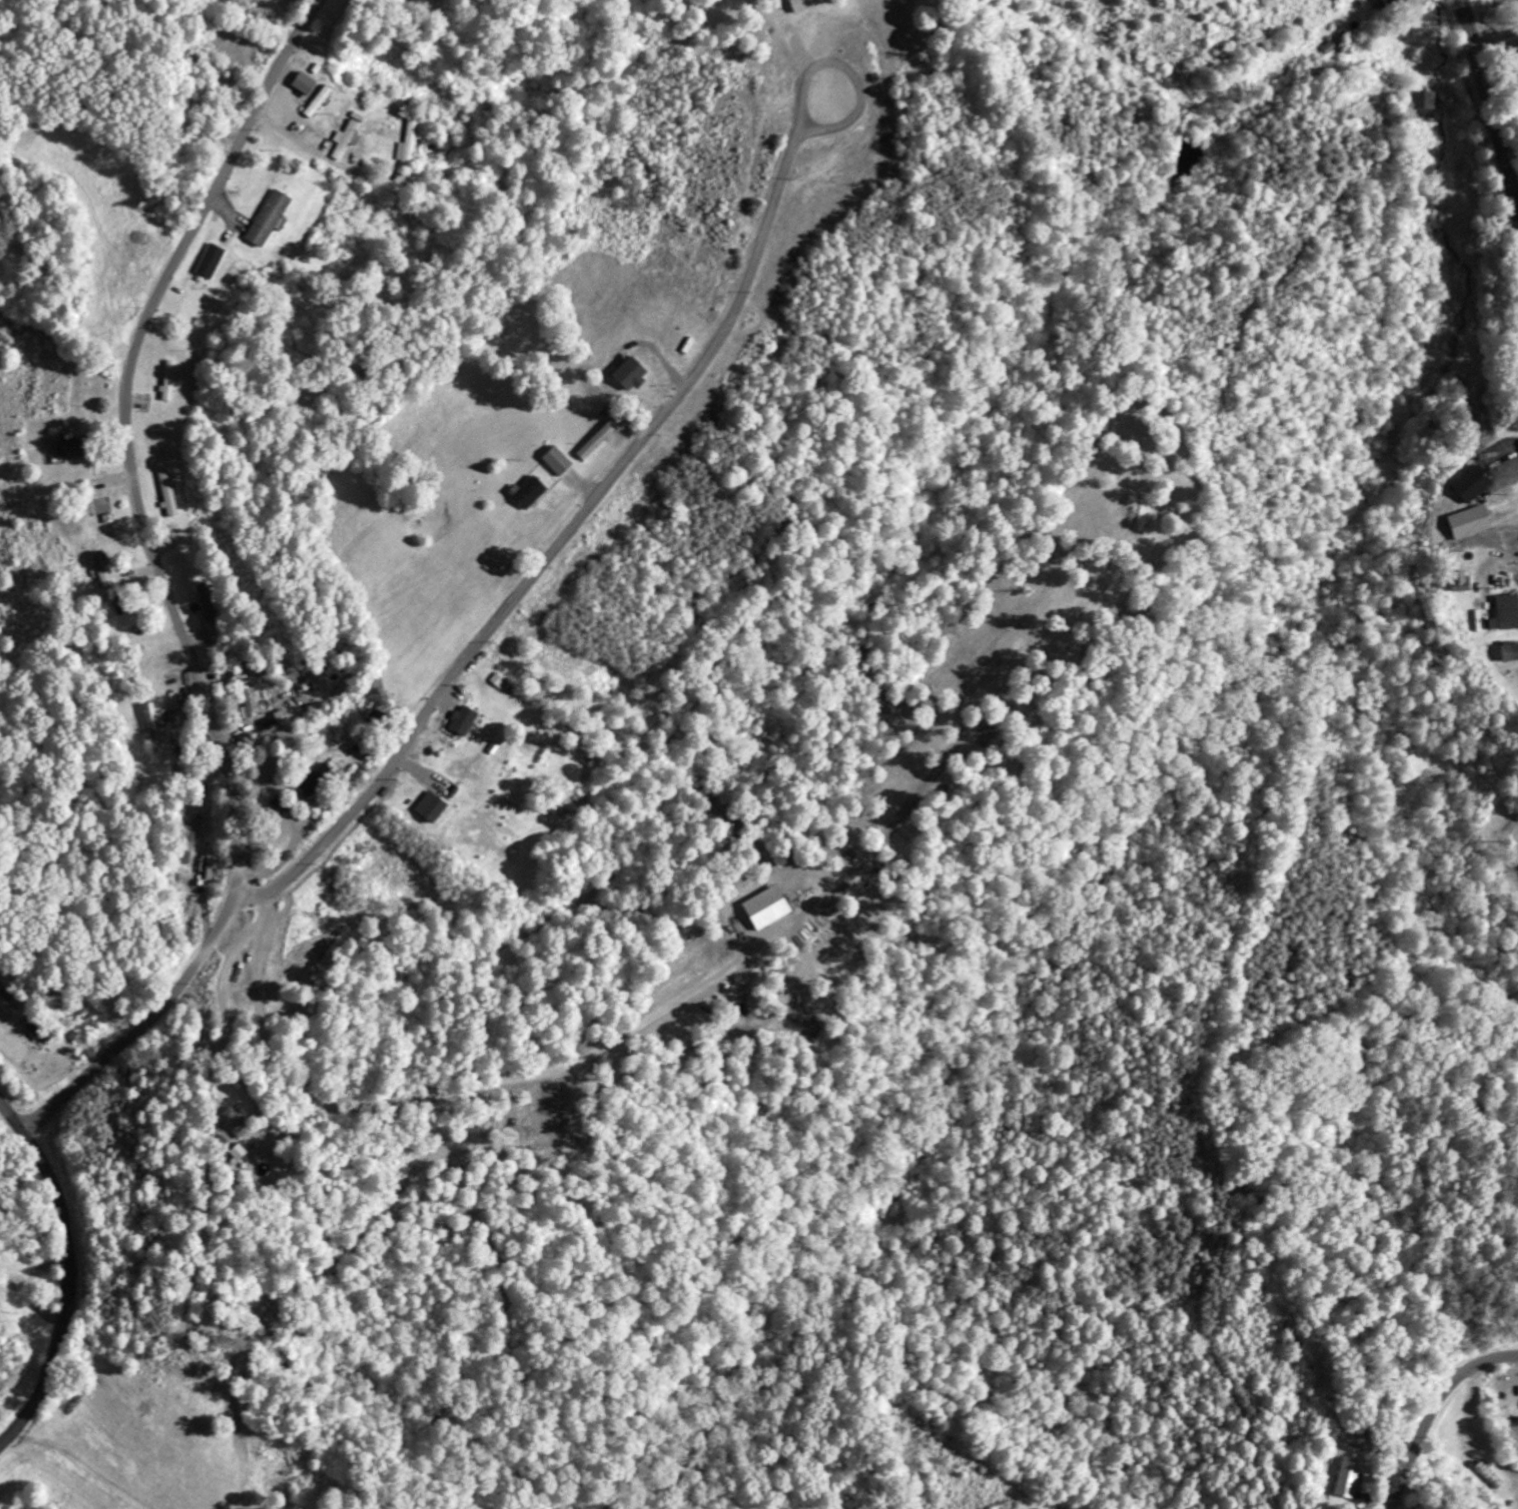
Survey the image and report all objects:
building: (1383, 1)
building: (799, 5)
building: (317, 101)
building: (1423, 103)
road: (1491, 105)
building: (344, 138)
building: (407, 144)
building: (266, 218)
building: (209, 261)
building: (628, 374)
building: (168, 380)
building: (596, 440)
building: (62, 448)
building: (556, 460)
road: (624, 463)
building: (1470, 482)
building: (168, 492)
building: (526, 492)
building: (1467, 520)
building: (1455, 579)
road: (165, 587)
building: (1506, 610)
building: (1508, 650)
building: (246, 698)
building: (280, 717)
building: (460, 719)
building: (153, 723)
building: (311, 779)
building: (273, 805)
building: (428, 806)
building: (183, 843)
building: (764, 907)
building: (37, 1034)
building: (230, 1117)
road: (70, 1273)
road: (1431, 1409)
building: (1346, 1477)

